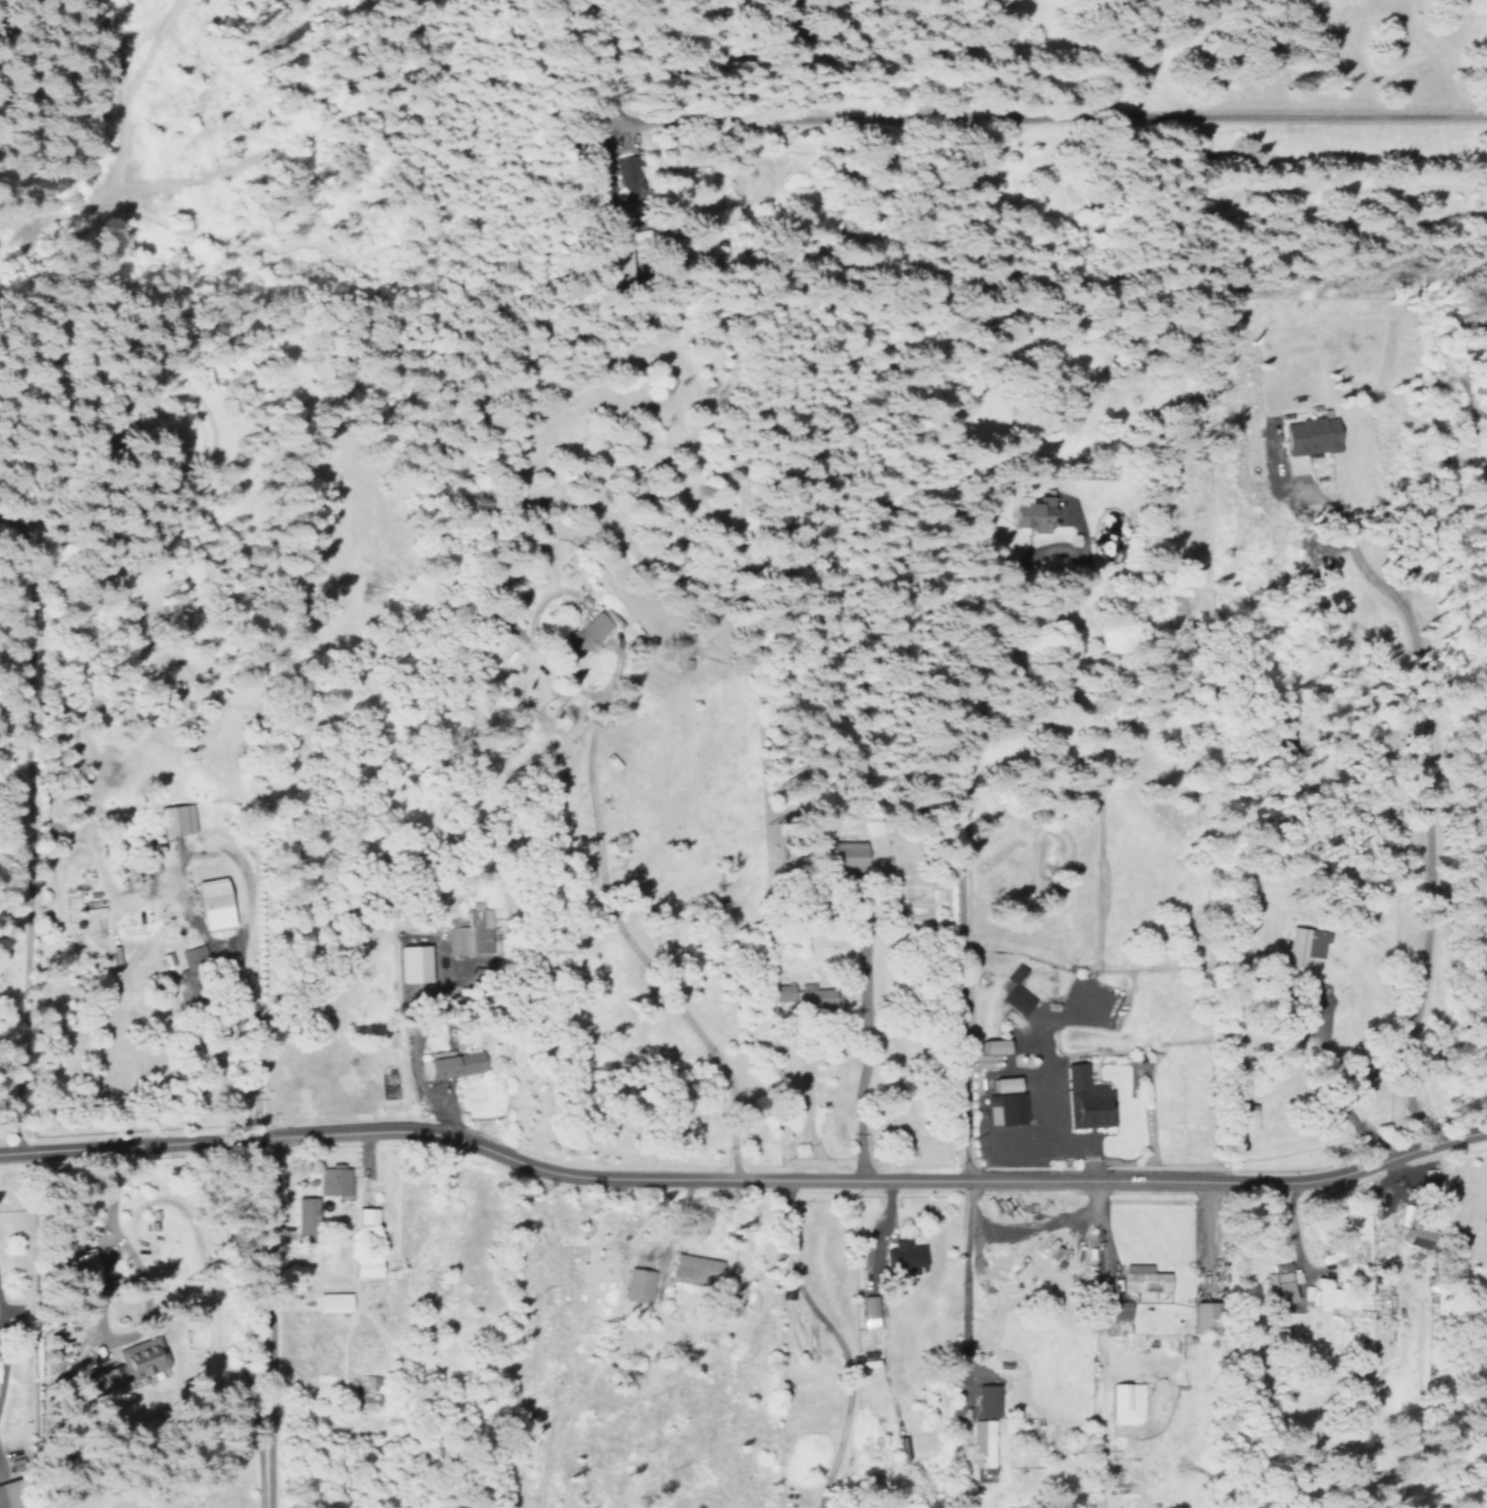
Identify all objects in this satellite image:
road: (1126, 119)
building: (627, 177)
building: (640, 239)
building: (1310, 436)
building: (1485, 463)
building: (1031, 514)
building: (612, 617)
building: (587, 633)
road: (58, 816)
building: (174, 818)
building: (845, 855)
building: (211, 903)
building: (471, 932)
building: (1303, 945)
building: (193, 954)
building: (166, 959)
building: (412, 963)
road: (645, 970)
building: (1016, 992)
building: (806, 995)
building: (992, 1046)
building: (452, 1064)
building: (1004, 1084)
building: (1087, 1100)
building: (1004, 1108)
building: (1246, 1117)
road: (741, 1179)
building: (333, 1180)
building: (305, 1215)
building: (366, 1216)
building: (1418, 1235)
building: (904, 1254)
building: (81, 1267)
building: (365, 1268)
building: (695, 1268)
building: (1143, 1281)
building: (1279, 1282)
building: (638, 1285)
building: (1336, 1298)
building: (332, 1302)
building: (869, 1310)
building: (1117, 1310)
building: (1203, 1317)
road: (267, 1326)
building: (140, 1357)
building: (370, 1392)
building: (986, 1400)
building: (1126, 1403)

